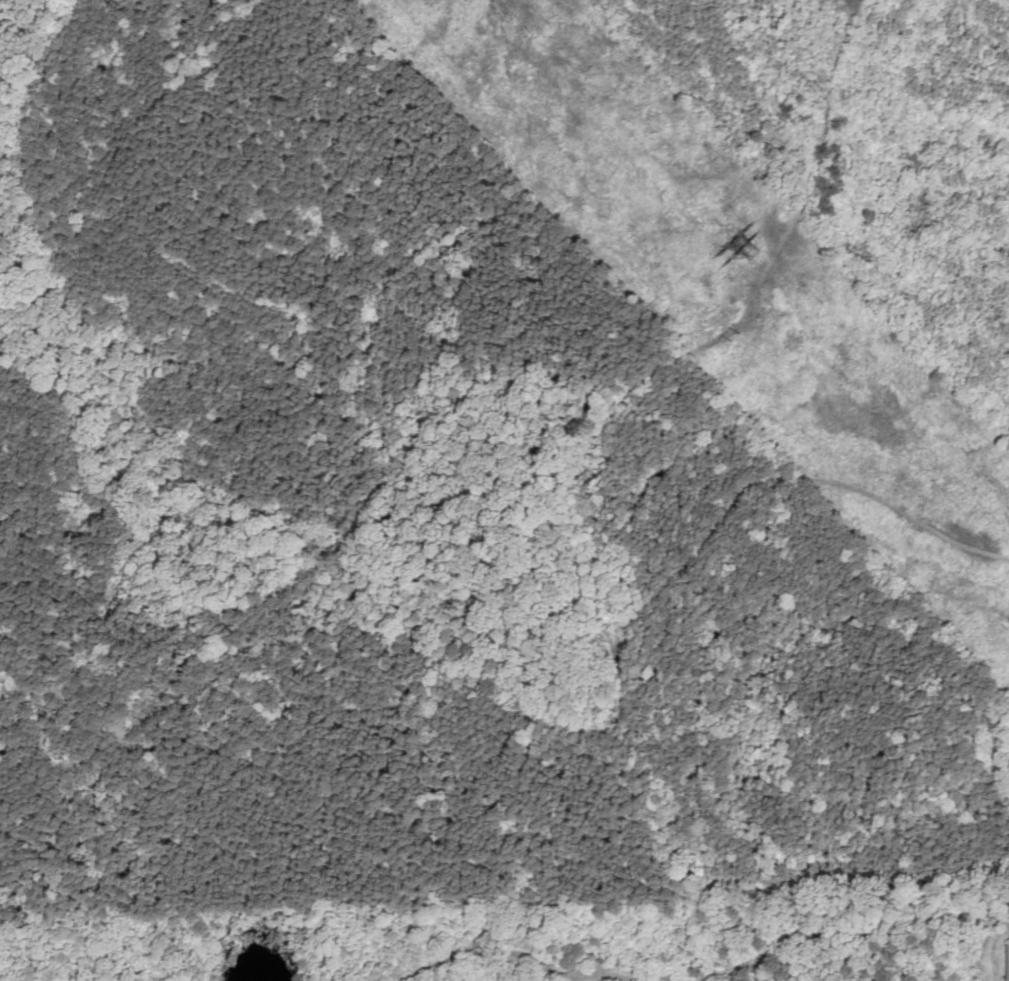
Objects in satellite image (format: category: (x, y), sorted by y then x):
power tower: (729, 248)
power tower: (736, 334)
building: (1007, 960)

